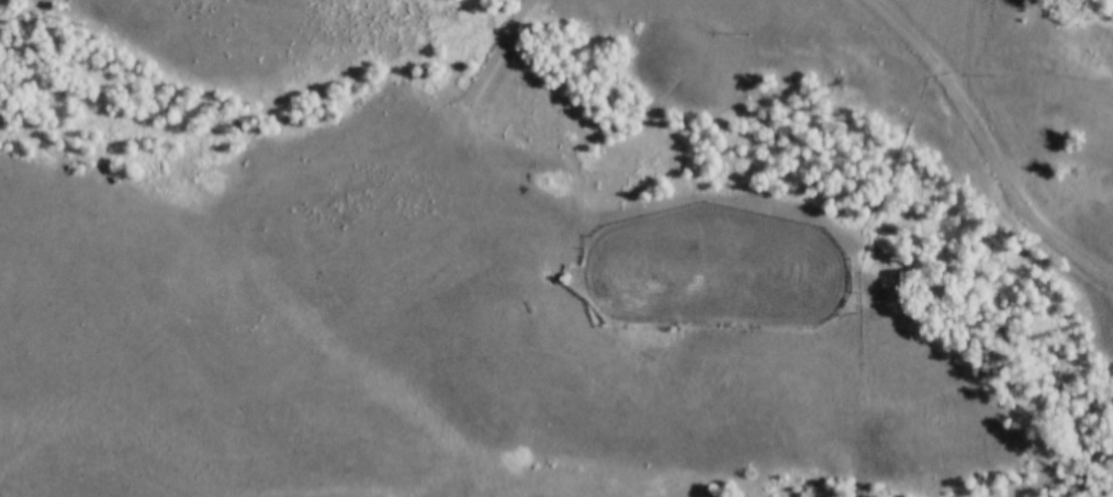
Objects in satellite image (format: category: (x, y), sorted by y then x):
road: (475, 87)
road: (985, 146)

